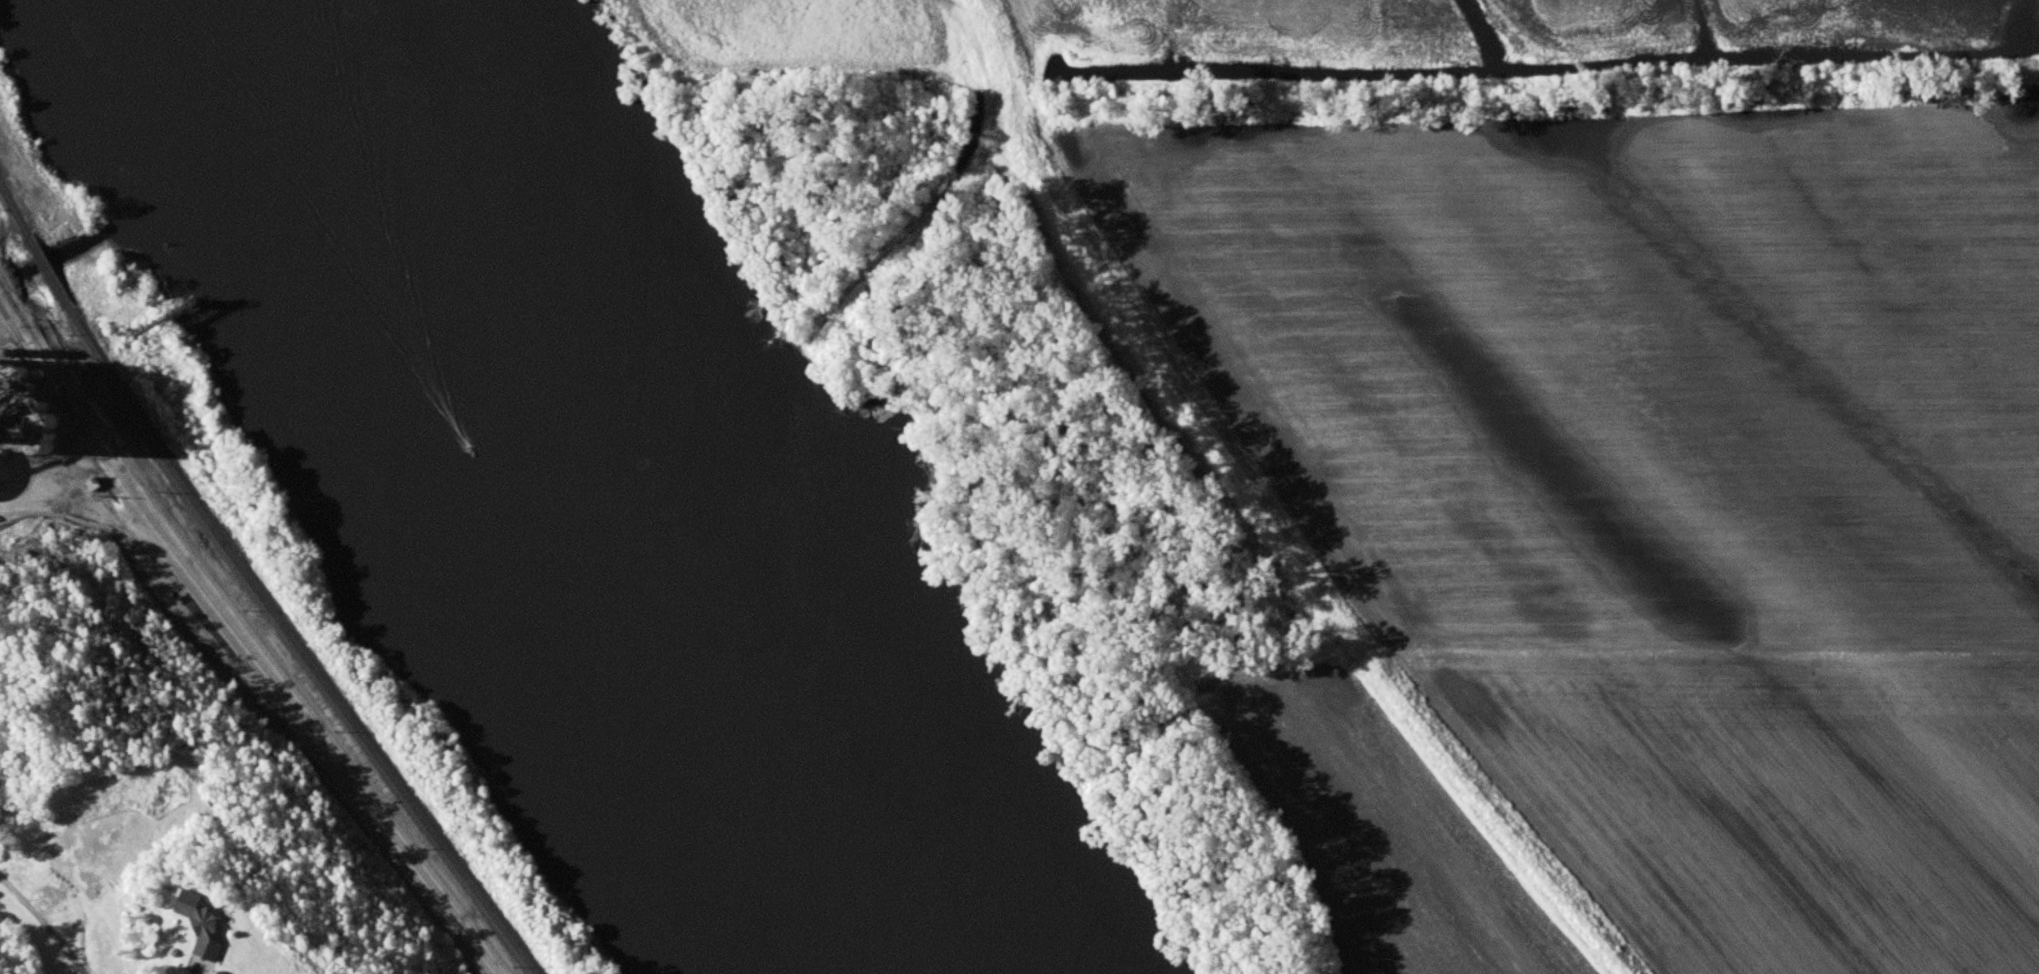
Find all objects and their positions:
railway: (14, 214)
railway: (49, 277)
river: (570, 516)
railway: (237, 636)
railway: (255, 640)
railway: (297, 647)
railway: (288, 716)
road: (41, 921)
building: (200, 926)

